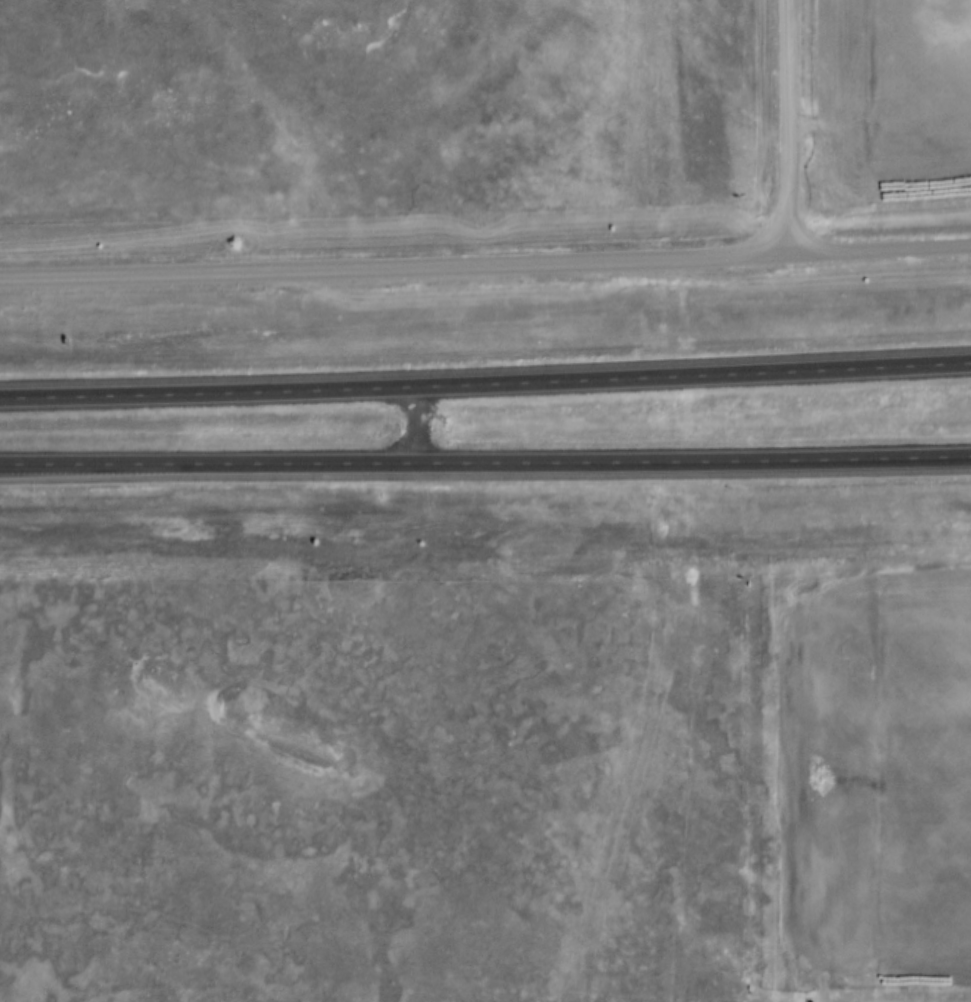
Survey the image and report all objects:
road: (785, 129)
road: (485, 270)
road: (485, 386)
road: (485, 466)

